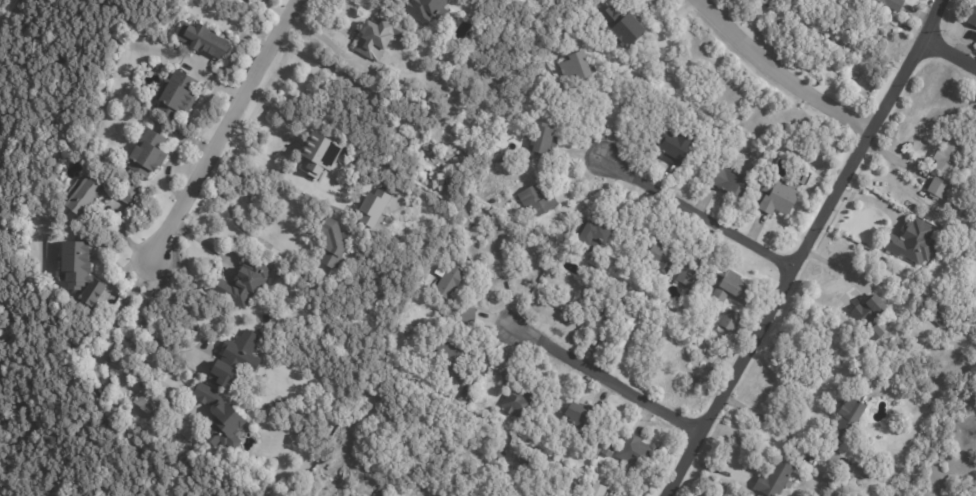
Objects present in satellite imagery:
building: (782, 1)
building: (891, 4)
building: (426, 10)
building: (972, 15)
building: (622, 23)
building: (894, 23)
building: (378, 37)
building: (203, 40)
road: (951, 53)
building: (573, 66)
road: (780, 75)
building: (177, 96)
road: (224, 129)
building: (541, 139)
building: (672, 146)
building: (144, 155)
building: (317, 155)
building: (947, 155)
building: (974, 159)
building: (726, 180)
building: (937, 188)
building: (95, 194)
building: (775, 196)
building: (536, 200)
building: (803, 205)
road: (696, 211)
building: (590, 233)
road: (239, 237)
building: (913, 242)
building: (333, 244)
road: (807, 248)
building: (656, 260)
building: (77, 271)
building: (687, 274)
building: (884, 277)
building: (446, 279)
building: (242, 284)
building: (731, 289)
building: (866, 310)
building: (465, 314)
building: (938, 318)
building: (729, 321)
building: (625, 325)
building: (9, 326)
road: (141, 329)
building: (719, 331)
road: (115, 356)
building: (389, 356)
building: (451, 357)
building: (231, 360)
road: (605, 378)
building: (506, 379)
building: (202, 394)
building: (146, 403)
building: (515, 403)
building: (579, 415)
building: (848, 415)
road: (765, 419)
building: (220, 427)
building: (600, 447)
building: (327, 450)
building: (520, 451)
building: (635, 453)
building: (497, 457)
building: (774, 479)
building: (595, 490)

